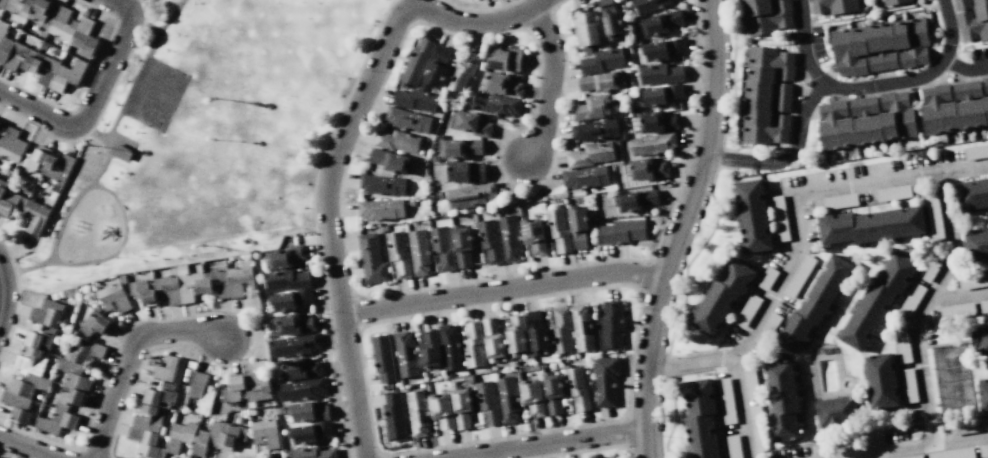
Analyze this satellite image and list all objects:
building: (891, 2)
building: (961, 4)
building: (648, 5)
building: (832, 6)
building: (27, 8)
road: (117, 8)
building: (765, 15)
road: (171, 16)
building: (610, 19)
building: (974, 21)
building: (661, 22)
building: (586, 28)
building: (71, 30)
building: (879, 45)
building: (663, 49)
building: (505, 59)
building: (601, 60)
building: (417, 62)
building: (43, 66)
building: (437, 67)
road: (140, 68)
road: (964, 68)
road: (109, 71)
building: (463, 72)
building: (660, 73)
road: (549, 81)
building: (601, 82)
road: (734, 82)
building: (502, 84)
building: (985, 84)
road: (871, 85)
building: (661, 94)
park: (156, 95)
building: (766, 95)
building: (414, 100)
building: (495, 104)
building: (593, 107)
building: (953, 107)
road: (39, 114)
building: (407, 120)
building: (865, 120)
building: (657, 121)
building: (472, 123)
building: (595, 130)
building: (624, 134)
road: (117, 138)
park: (205, 138)
building: (396, 141)
building: (652, 144)
building: (11, 146)
building: (461, 148)
road: (105, 150)
building: (976, 151)
building: (120, 152)
road: (334, 154)
building: (590, 154)
road: (786, 156)
building: (40, 158)
building: (66, 161)
building: (390, 161)
building: (646, 168)
building: (465, 172)
building: (585, 177)
building: (382, 183)
road: (799, 192)
building: (893, 193)
building: (972, 193)
building: (469, 194)
building: (6, 199)
building: (635, 199)
building: (840, 201)
building: (379, 209)
building: (752, 215)
building: (779, 218)
building: (934, 218)
building: (577, 225)
building: (871, 225)
road: (125, 227)
road: (679, 228)
building: (558, 229)
building: (621, 231)
building: (533, 235)
building: (509, 237)
road: (950, 239)
building: (488, 241)
building: (462, 244)
building: (976, 245)
building: (441, 248)
building: (418, 251)
building: (397, 254)
building: (286, 256)
building: (371, 259)
building: (932, 265)
building: (798, 276)
building: (766, 278)
building: (286, 279)
building: (239, 280)
building: (973, 281)
building: (216, 282)
building: (190, 286)
road: (502, 289)
road: (0, 290)
building: (167, 290)
building: (144, 292)
building: (113, 297)
building: (721, 297)
building: (291, 299)
building: (876, 300)
building: (911, 300)
building: (814, 302)
building: (983, 305)
building: (747, 310)
building: (957, 310)
building: (47, 313)
building: (93, 323)
building: (293, 324)
building: (611, 325)
building: (582, 328)
building: (767, 328)
building: (560, 330)
building: (536, 332)
building: (515, 335)
building: (40, 338)
building: (493, 339)
building: (983, 339)
building: (295, 344)
building: (472, 344)
building: (902, 346)
building: (450, 348)
building: (429, 350)
building: (84, 352)
building: (404, 354)
road: (129, 355)
building: (383, 358)
building: (31, 361)
road: (690, 362)
building: (299, 368)
road: (919, 368)
building: (169, 369)
building: (73, 375)
building: (605, 380)
building: (881, 381)
building: (750, 383)
building: (28, 384)
building: (257, 386)
building: (908, 386)
building: (576, 388)
building: (234, 389)
building: (301, 389)
building: (552, 391)
building: (200, 392)
building: (160, 394)
building: (531, 396)
building: (983, 396)
building: (68, 398)
building: (507, 398)
building: (726, 401)
building: (783, 401)
building: (486, 402)
building: (16, 406)
building: (460, 406)
road: (740, 407)
building: (308, 411)
building: (440, 411)
building: (835, 411)
building: (417, 412)
building: (393, 415)
building: (699, 418)
building: (148, 419)
building: (56, 421)
building: (968, 425)
building: (756, 426)
building: (311, 432)
park: (311, 432)
building: (265, 433)
building: (180, 435)
building: (230, 435)
building: (205, 438)
road: (548, 442)
building: (146, 443)
building: (732, 446)
road: (27, 448)
building: (983, 450)
road: (886, 451)
building: (312, 452)
building: (953, 453)
building: (912, 456)
road: (849, 457)

